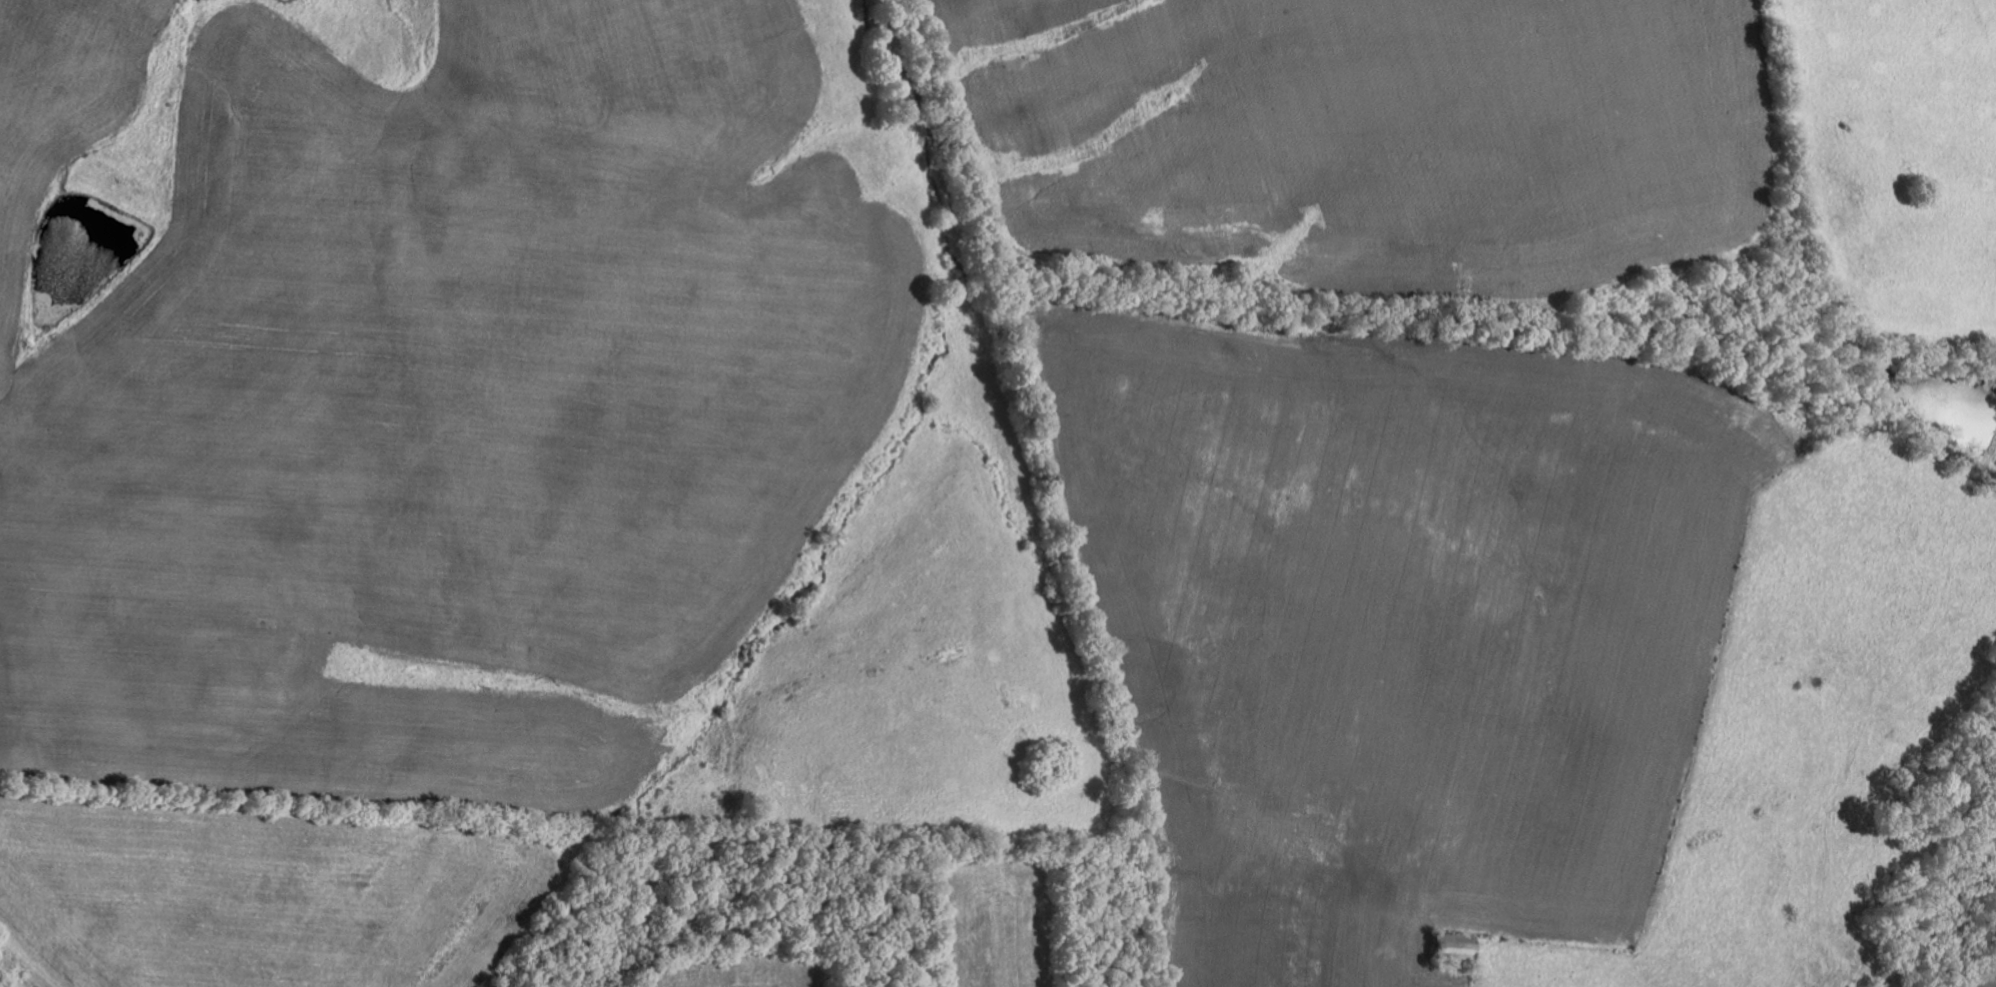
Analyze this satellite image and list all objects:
building: (1459, 947)

